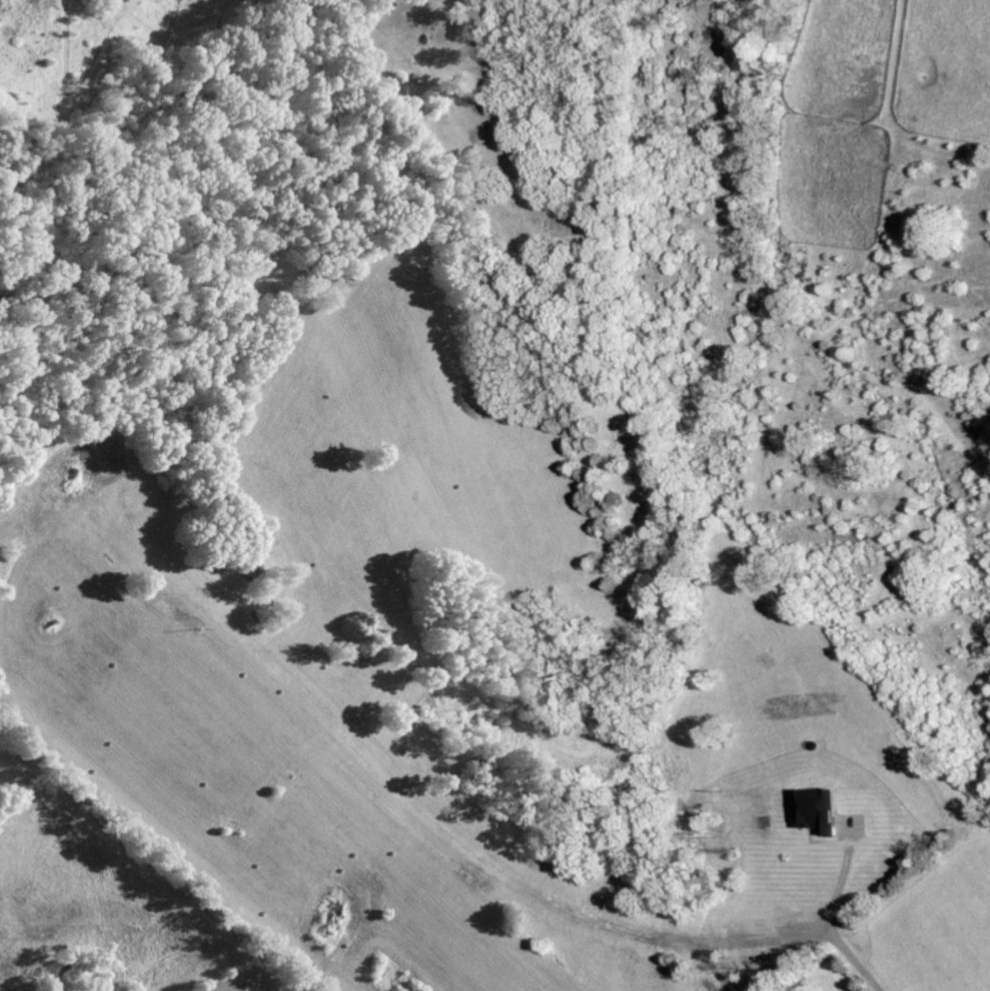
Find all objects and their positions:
building: (818, 811)
road: (511, 879)

